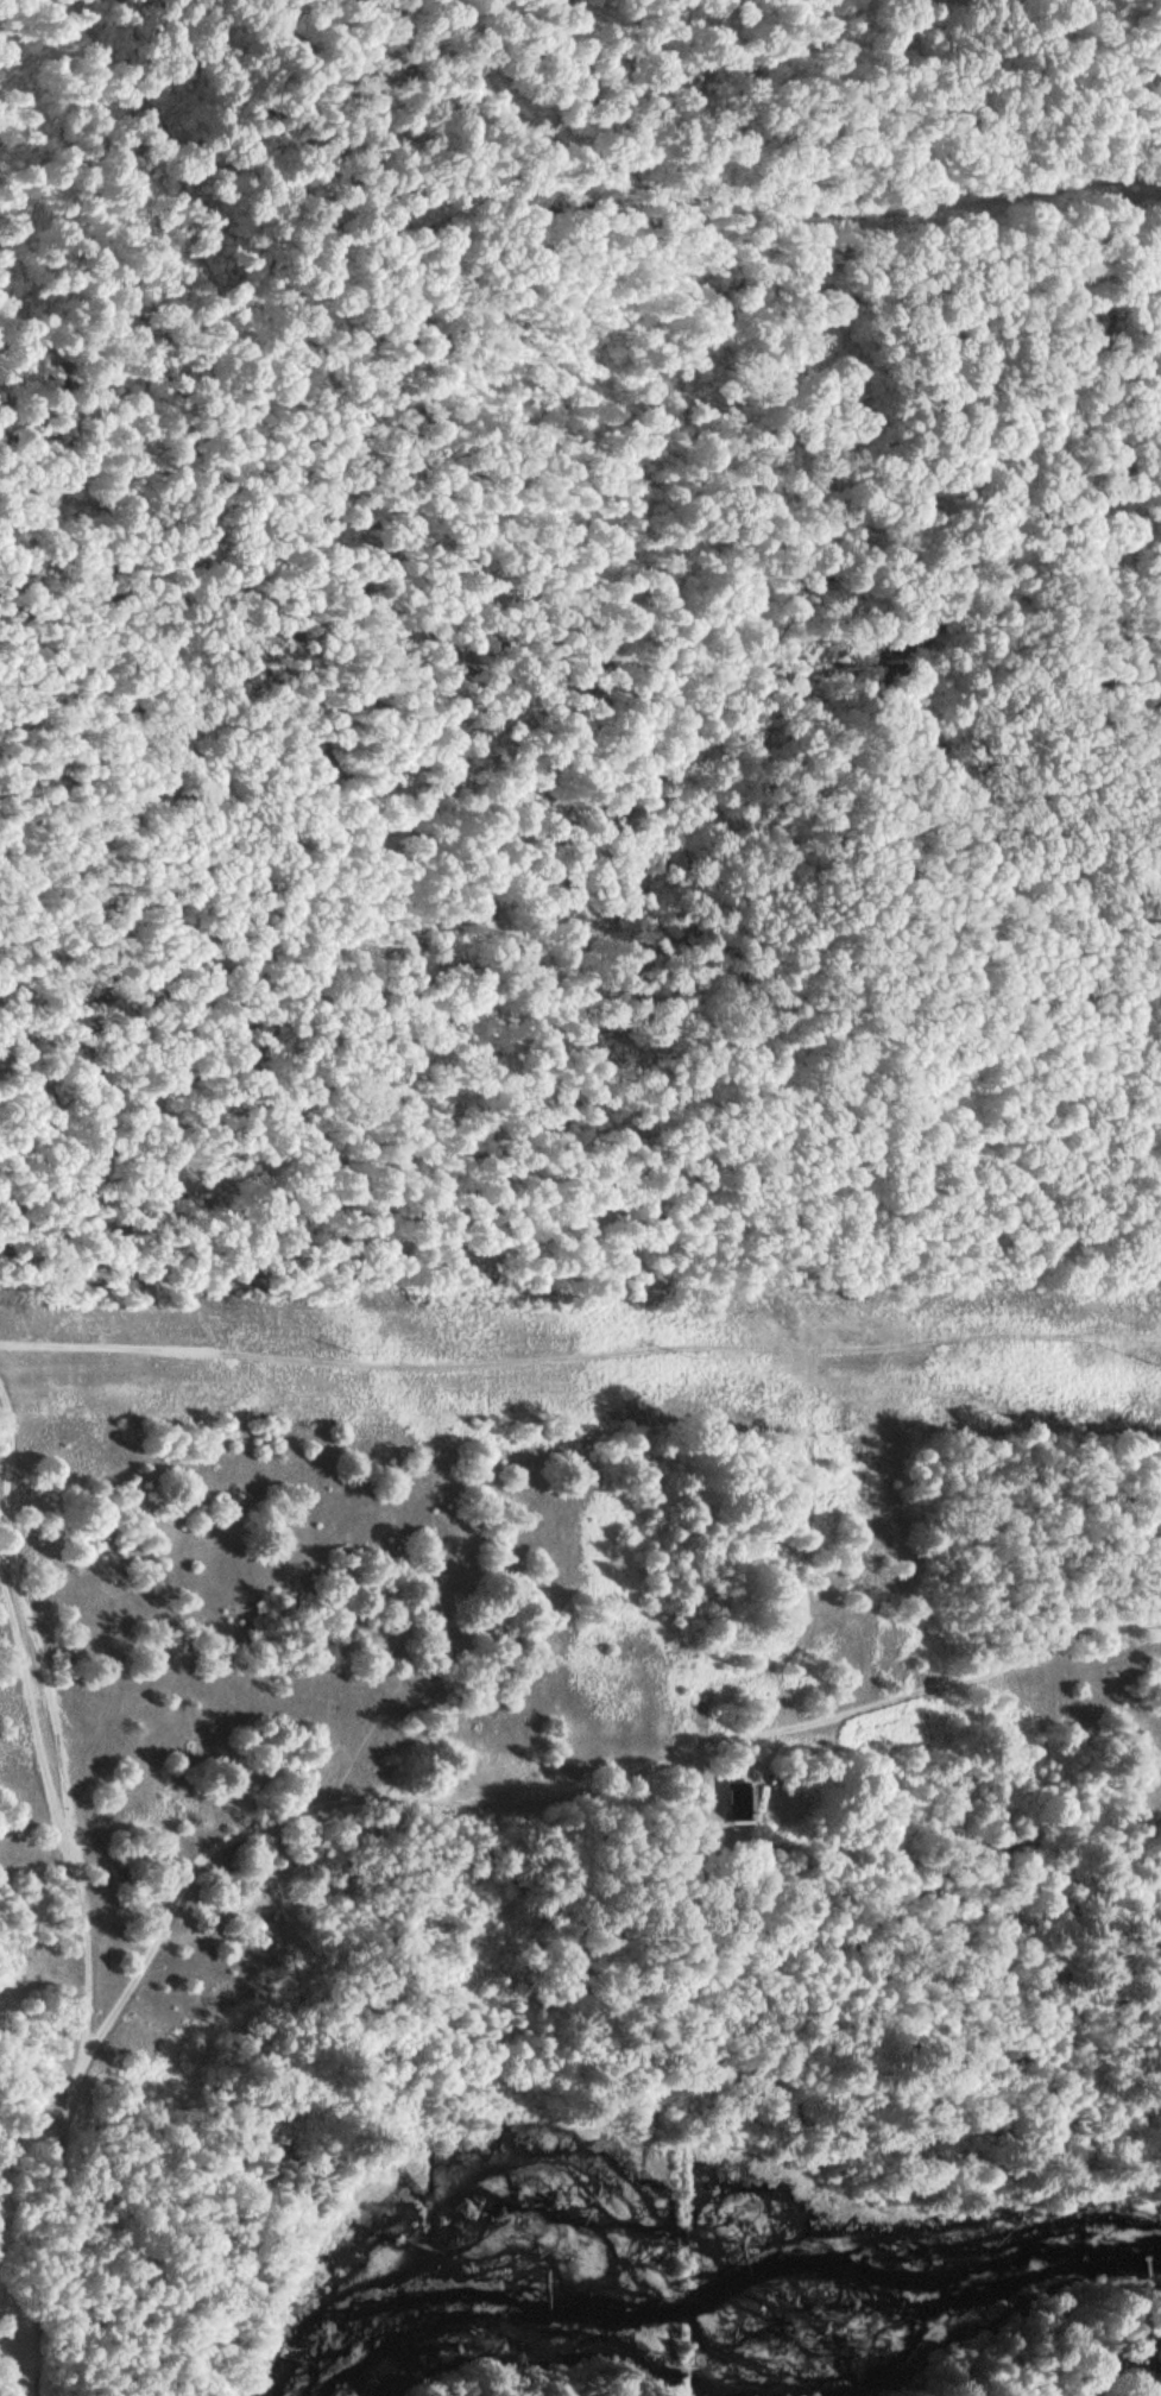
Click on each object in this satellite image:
road: (821, 1719)
road: (133, 1982)
river: (725, 2314)
building: (1146, 2350)

